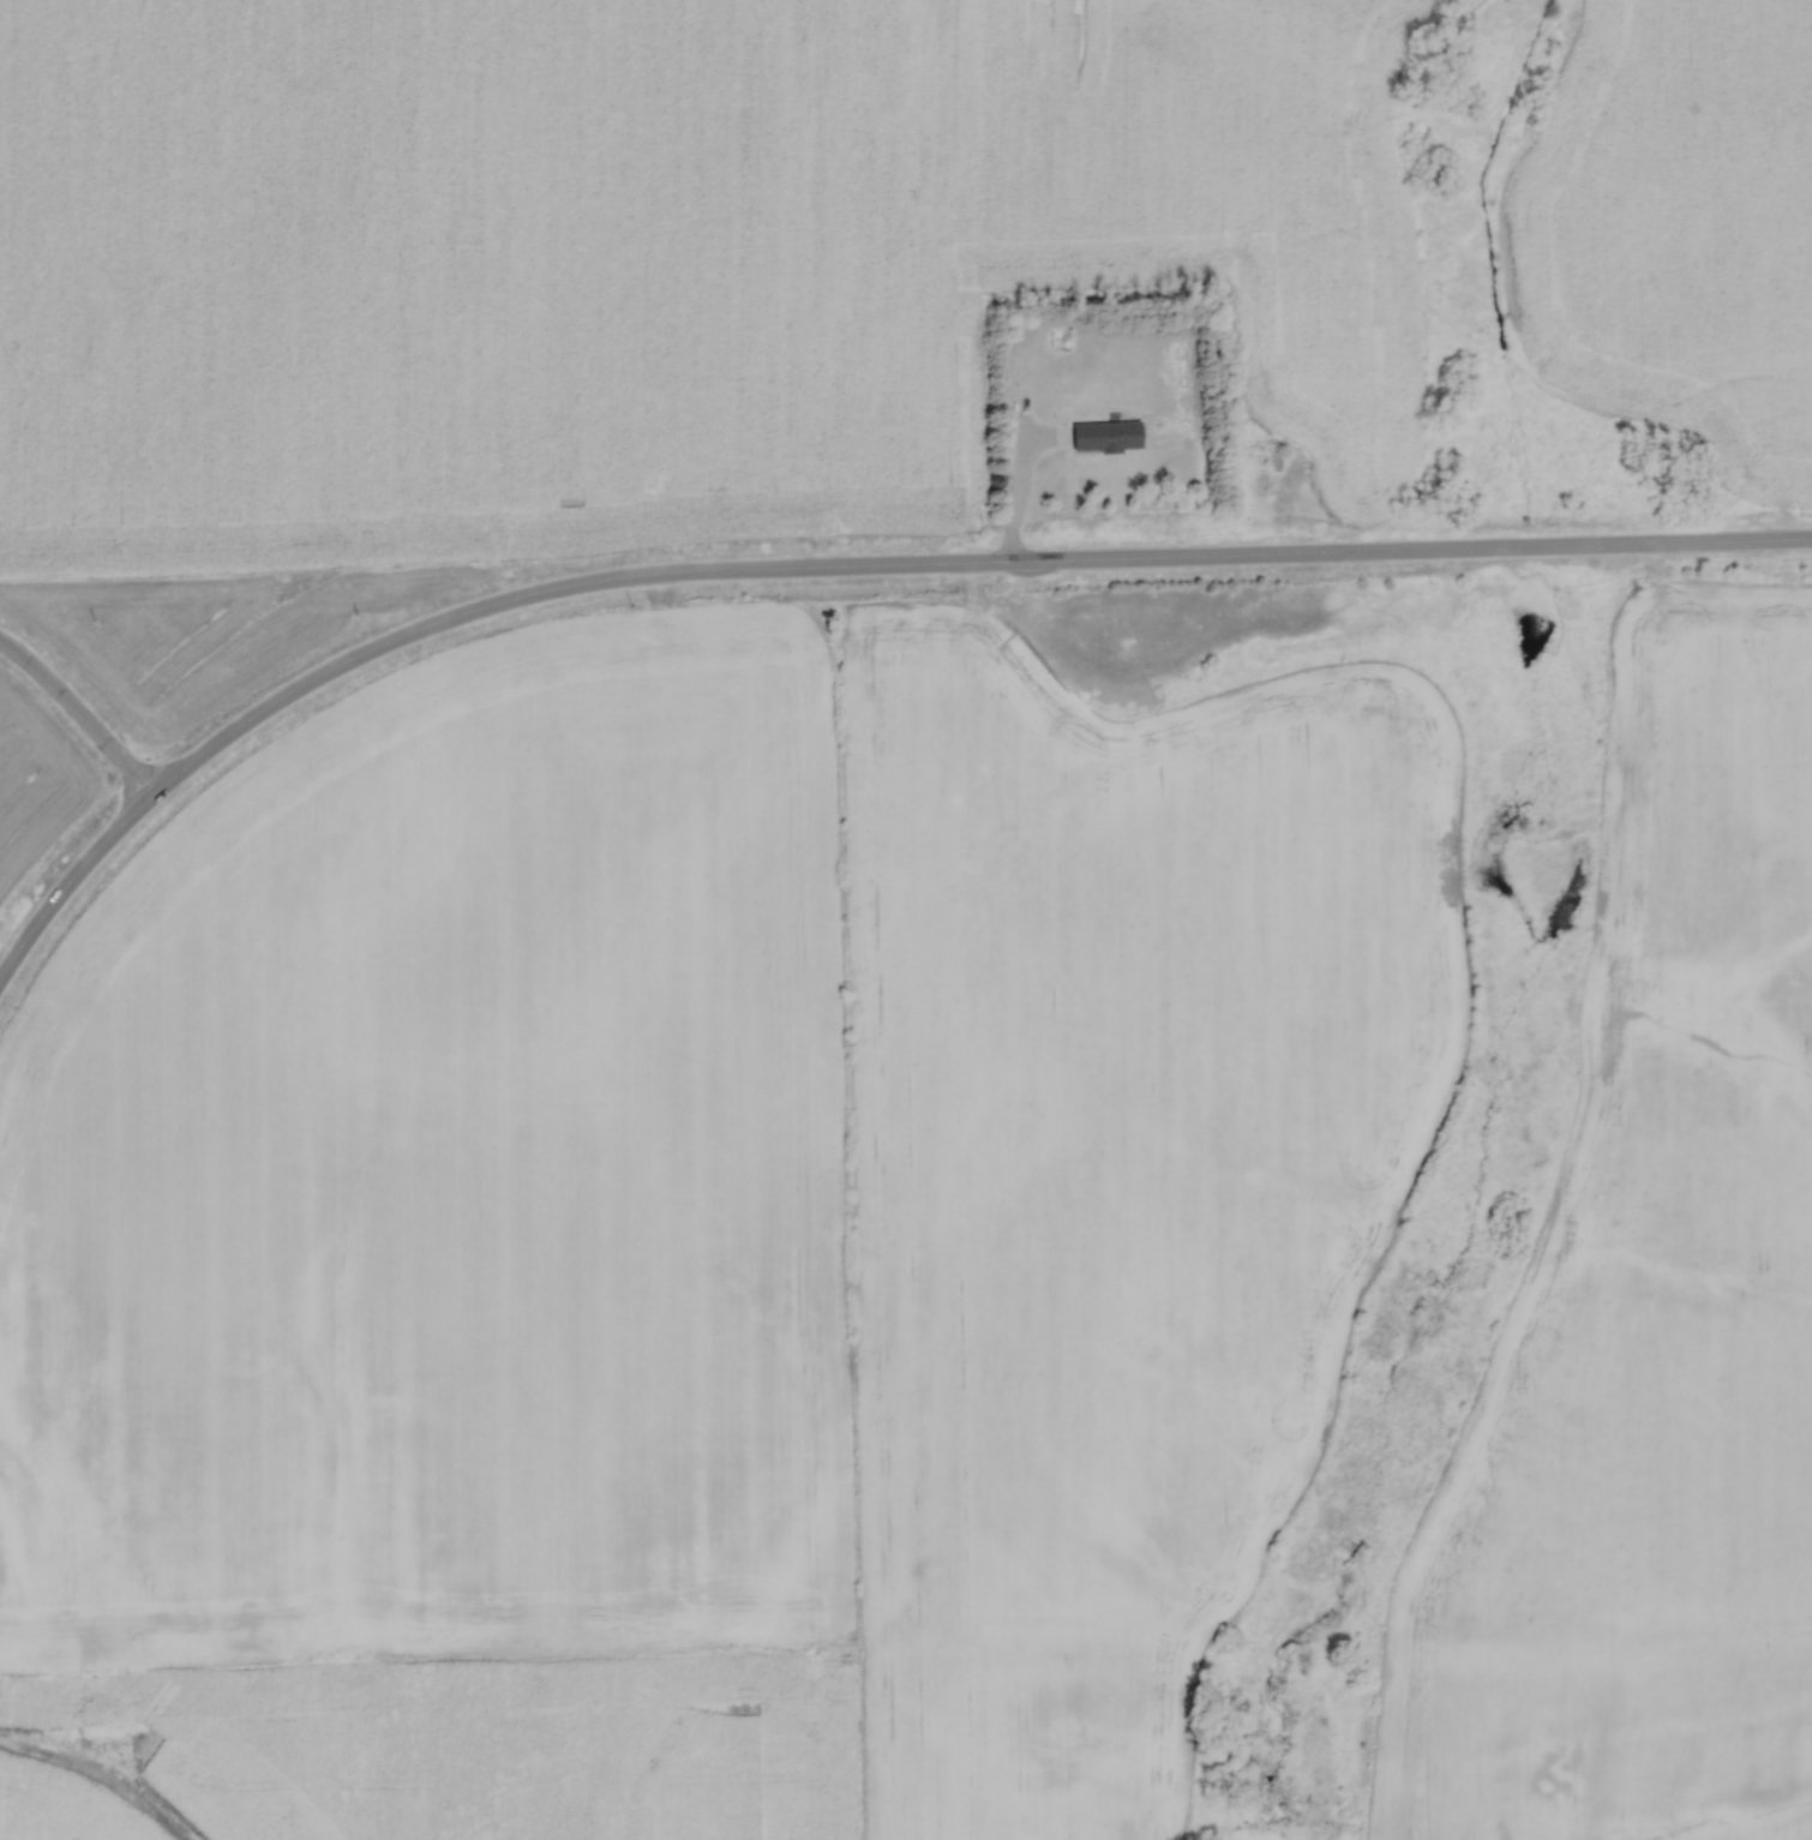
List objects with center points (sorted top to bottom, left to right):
crop: (1674, 227)
building: (1063, 342)
building: (1145, 365)
road: (1066, 473)
road: (954, 564)
road: (80, 712)
road: (70, 883)
crop: (445, 1173)

